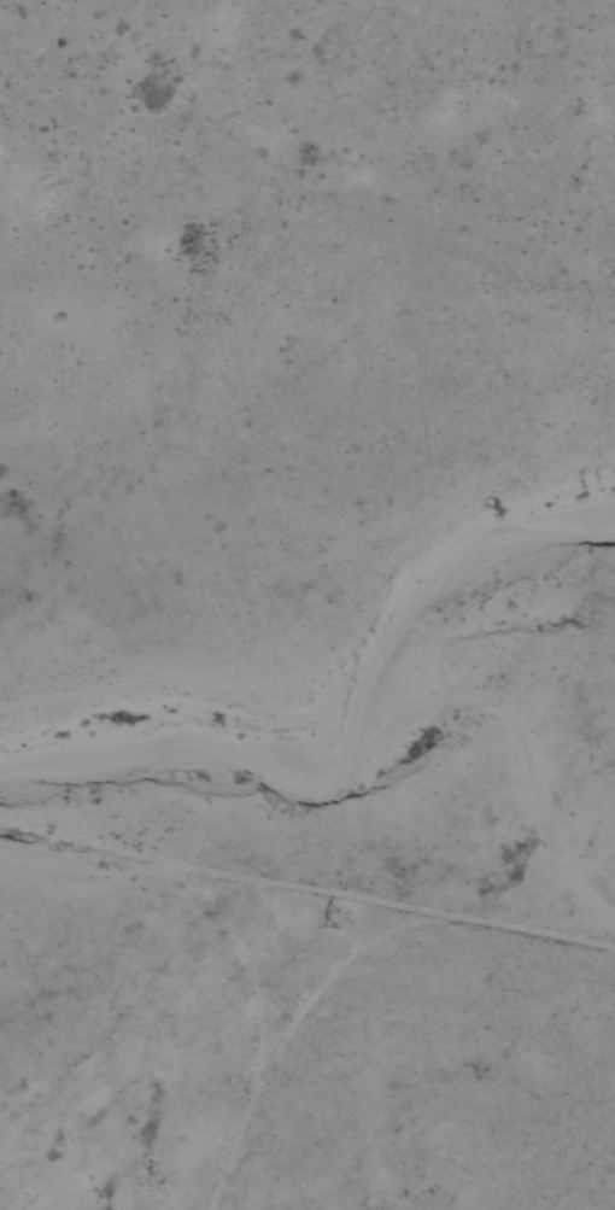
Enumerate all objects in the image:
power tower: (335, 917)

